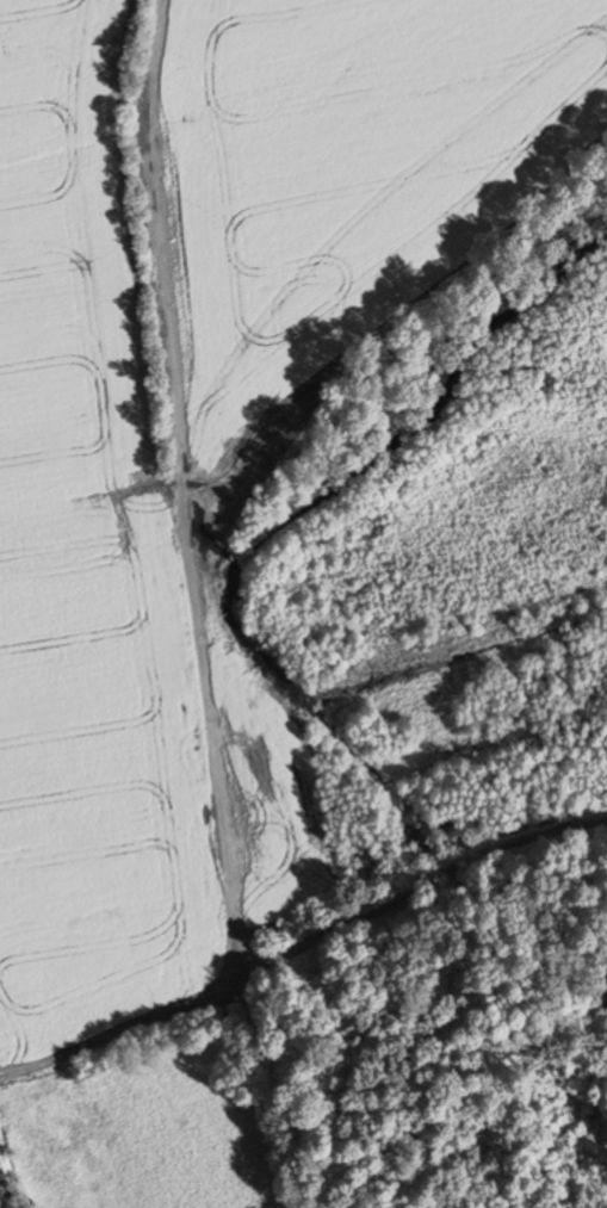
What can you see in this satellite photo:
road: (181, 618)

